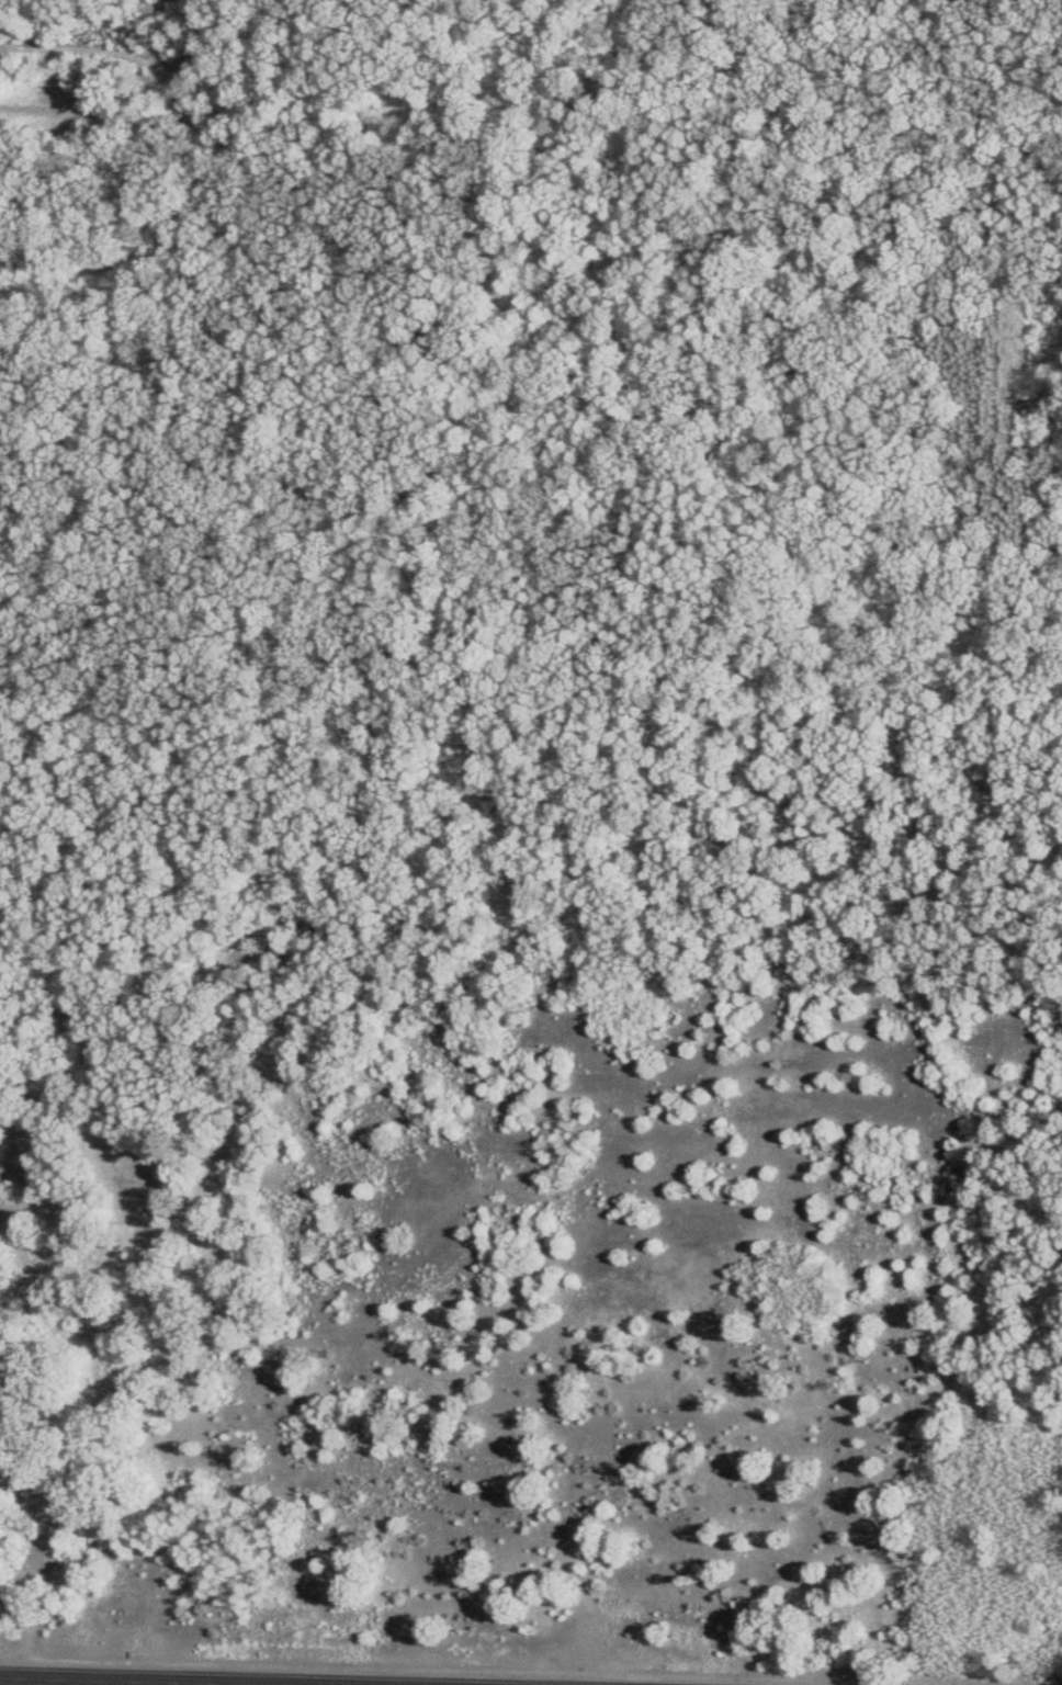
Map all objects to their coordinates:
road: (117, 1682)

